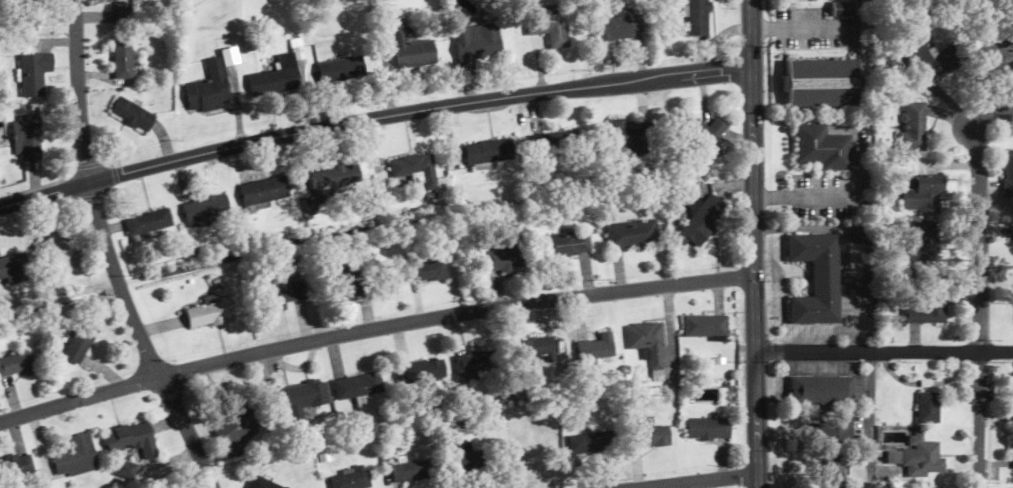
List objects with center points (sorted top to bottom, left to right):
building: (844, 7)
building: (120, 12)
building: (30, 13)
building: (698, 18)
building: (619, 26)
building: (549, 27)
road: (795, 28)
building: (476, 43)
building: (411, 47)
building: (995, 57)
building: (121, 59)
building: (930, 61)
building: (345, 69)
building: (34, 73)
building: (276, 79)
building: (821, 83)
building: (209, 88)
road: (419, 109)
road: (995, 110)
building: (132, 114)
building: (911, 126)
building: (701, 131)
building: (28, 136)
building: (627, 137)
building: (559, 146)
building: (820, 147)
building: (488, 151)
building: (416, 168)
building: (1008, 173)
building: (332, 178)
building: (266, 191)
building: (923, 193)
road: (45, 195)
building: (205, 210)
building: (149, 222)
building: (700, 222)
building: (632, 234)
road: (755, 243)
building: (918, 243)
building: (565, 244)
road: (110, 253)
building: (58, 255)
building: (505, 256)
building: (14, 269)
building: (428, 271)
building: (816, 278)
building: (346, 283)
building: (288, 295)
road: (981, 298)
building: (926, 308)
building: (212, 312)
building: (705, 326)
road: (374, 328)
building: (83, 341)
building: (648, 345)
building: (595, 347)
building: (533, 350)
road: (885, 352)
building: (471, 362)
building: (19, 363)
building: (420, 371)
building: (359, 385)
building: (821, 390)
building: (304, 397)
building: (1012, 404)
building: (928, 408)
building: (240, 428)
building: (709, 428)
building: (829, 431)
building: (649, 437)
building: (135, 439)
building: (586, 443)
building: (79, 457)
building: (460, 457)
building: (922, 457)
building: (20, 465)
building: (411, 471)
building: (834, 472)
building: (352, 479)
road: (701, 481)
building: (264, 483)

